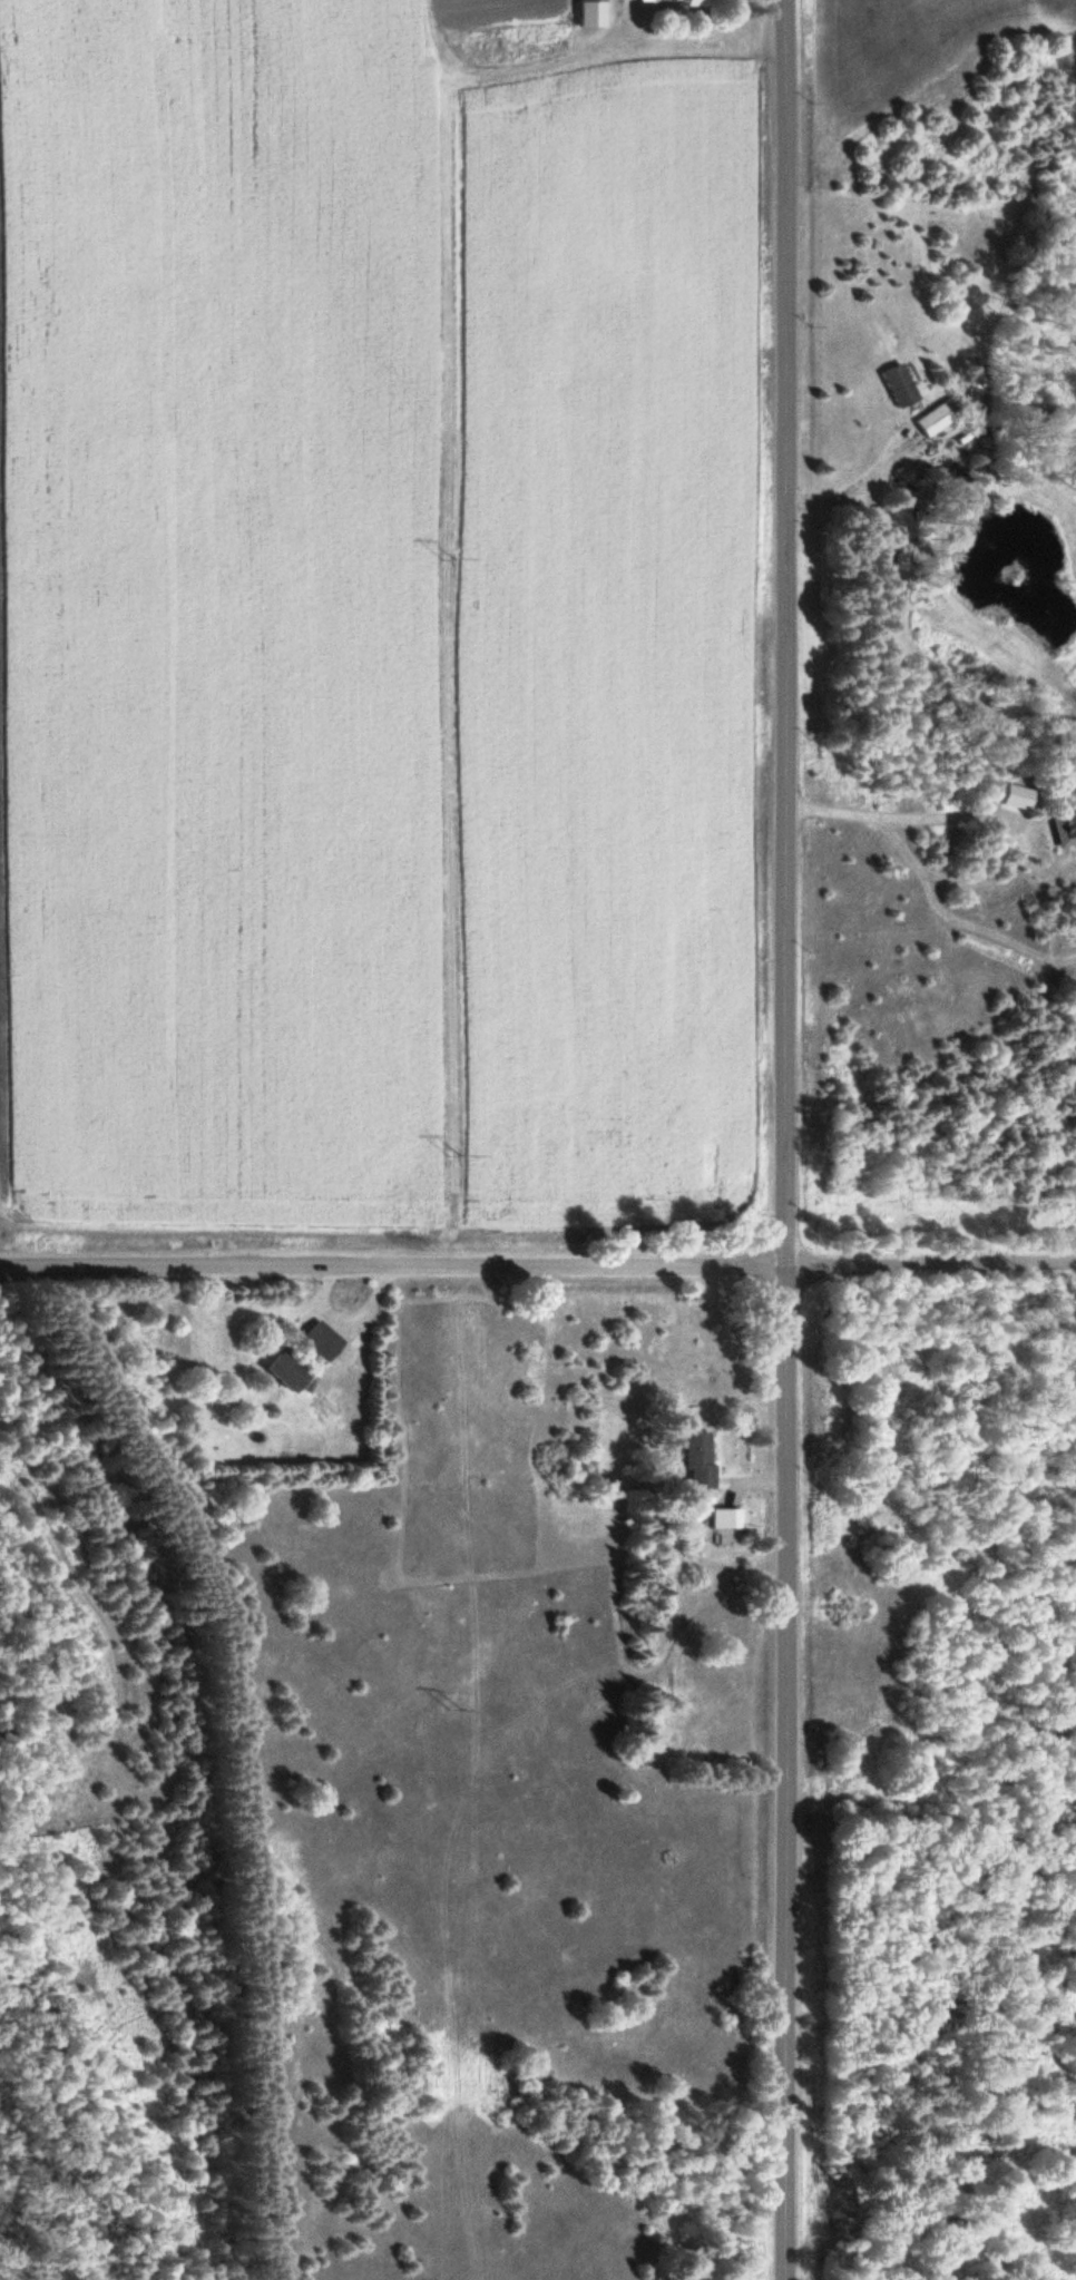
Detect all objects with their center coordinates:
building: (687, 3)
building: (583, 14)
building: (892, 385)
building: (927, 421)
building: (1060, 828)
road: (784, 1139)
road: (537, 1266)
building: (314, 1341)
building: (275, 1372)
building: (693, 1461)

